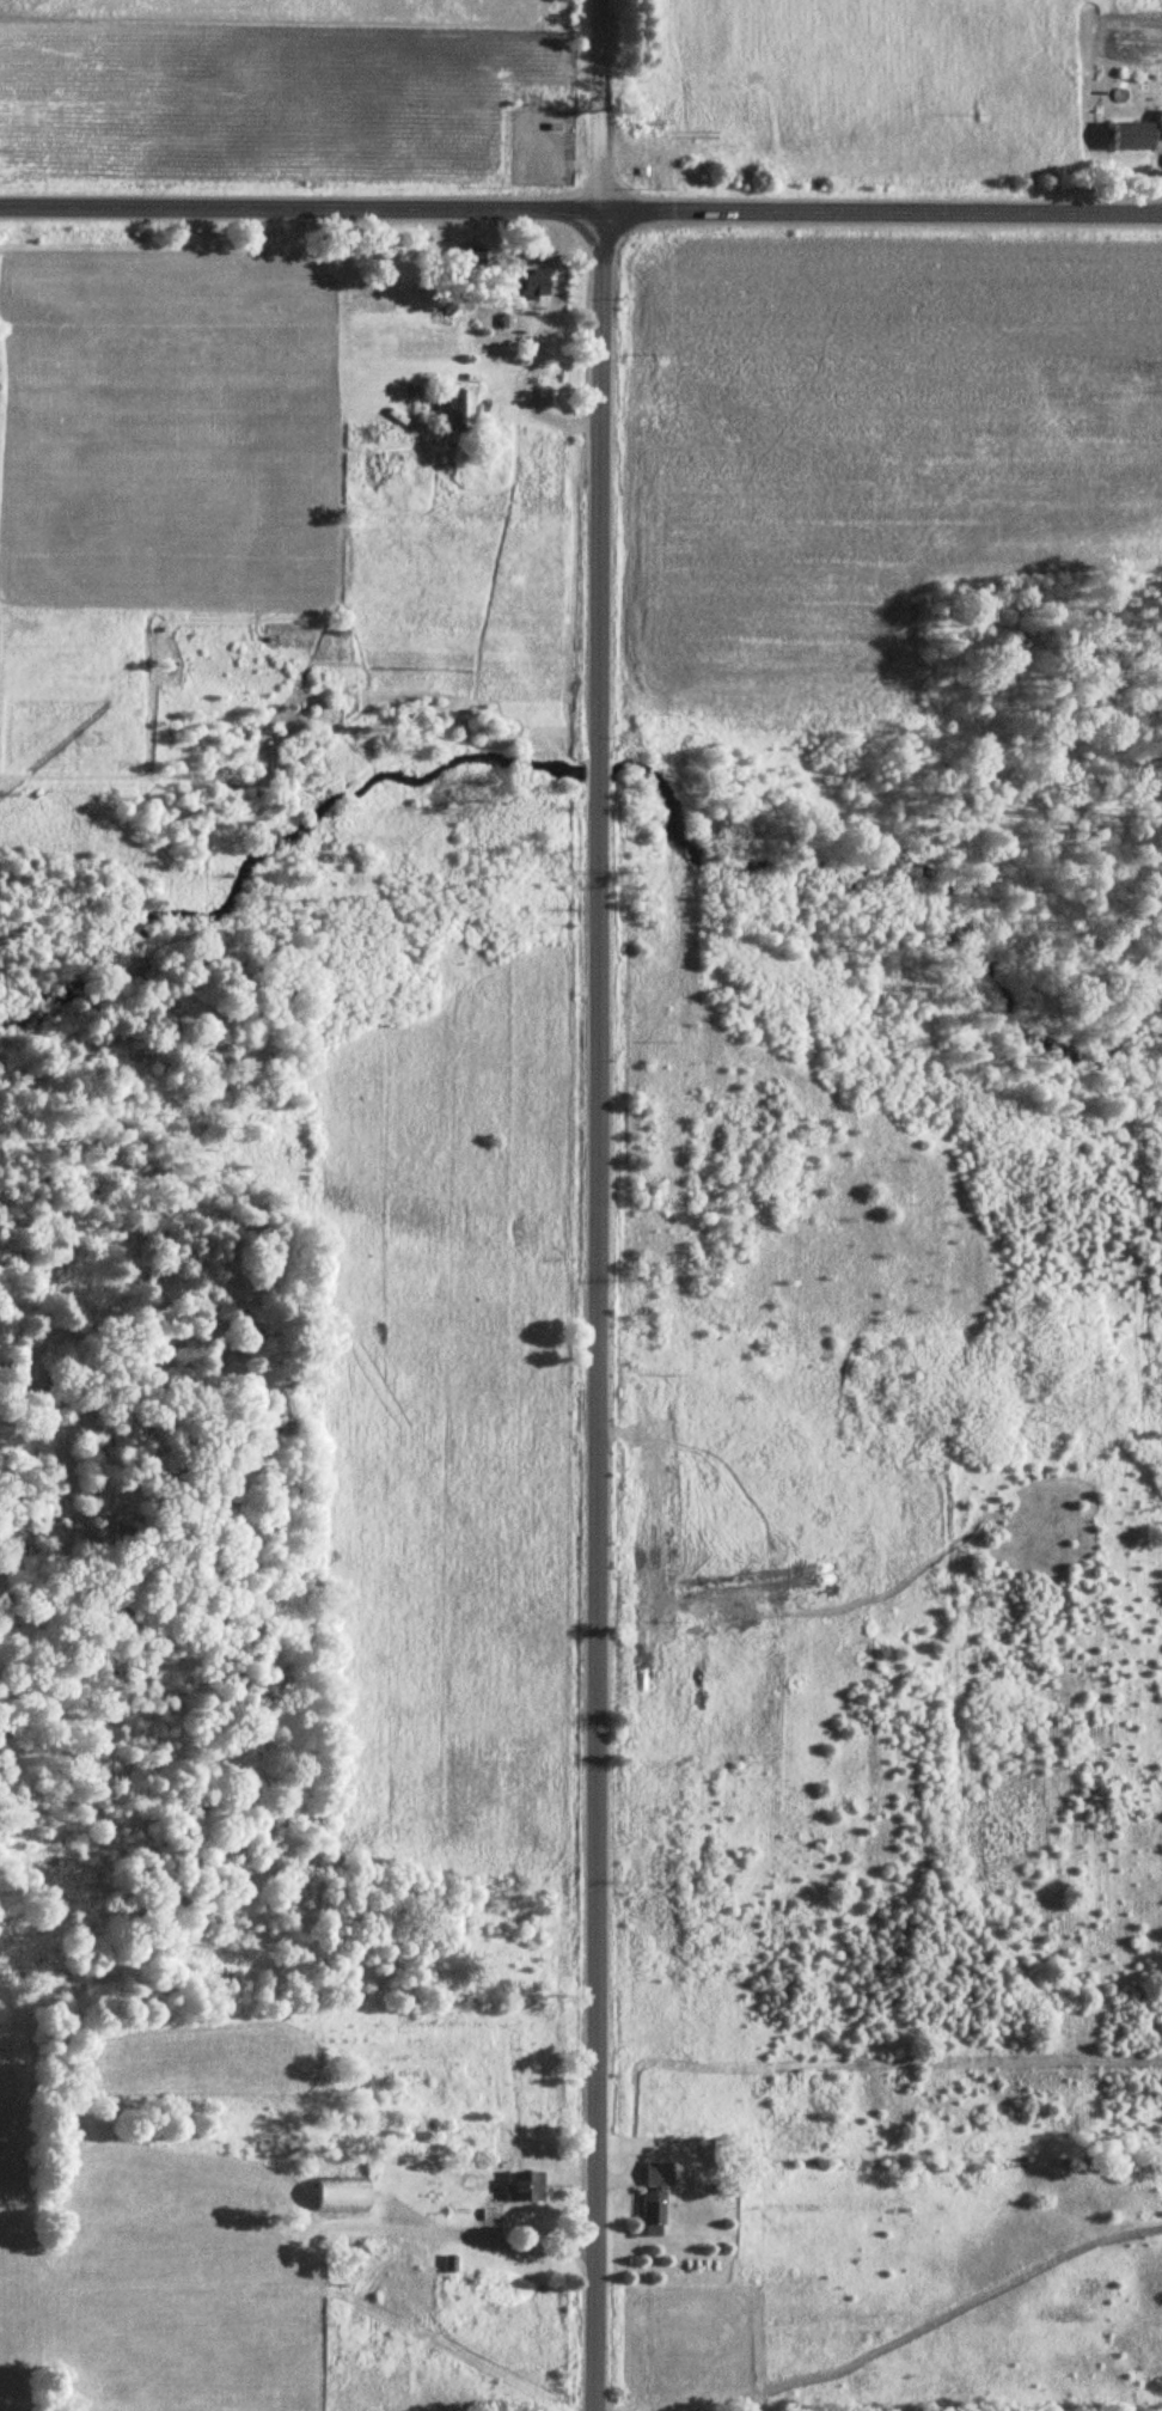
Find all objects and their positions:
road: (601, 105)
building: (1155, 126)
building: (1121, 136)
road: (580, 210)
building: (527, 283)
building: (545, 398)
building: (455, 410)
road: (593, 1311)
building: (519, 2186)
building: (334, 2193)
building: (650, 2198)

